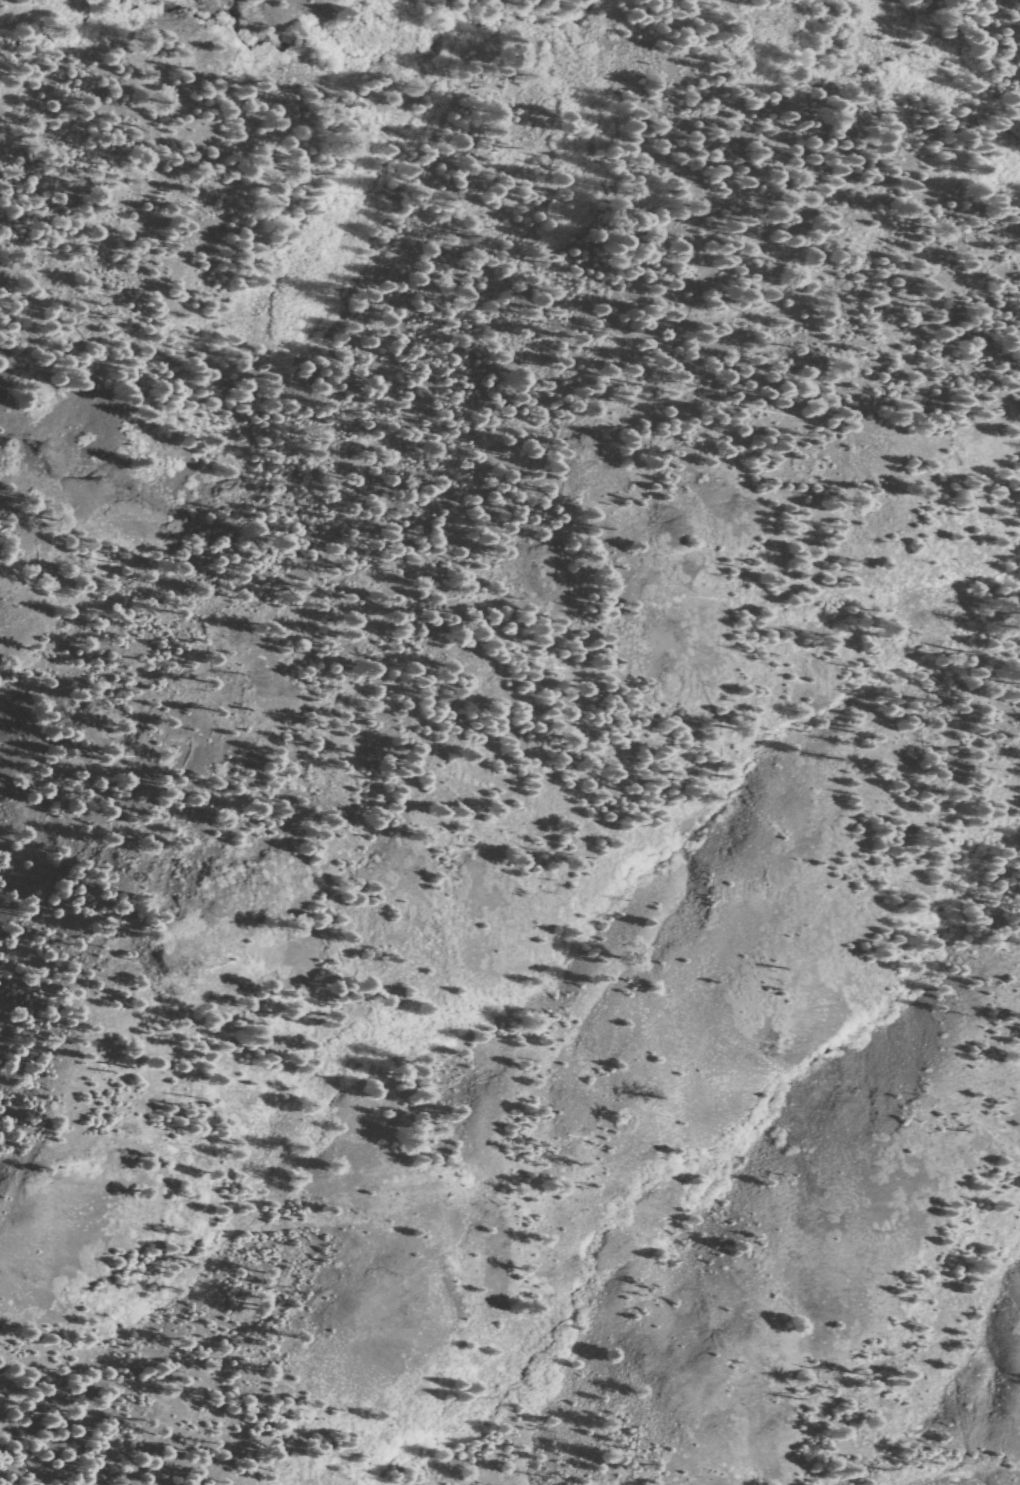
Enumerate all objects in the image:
road: (681, 1462)
road: (957, 1470)

